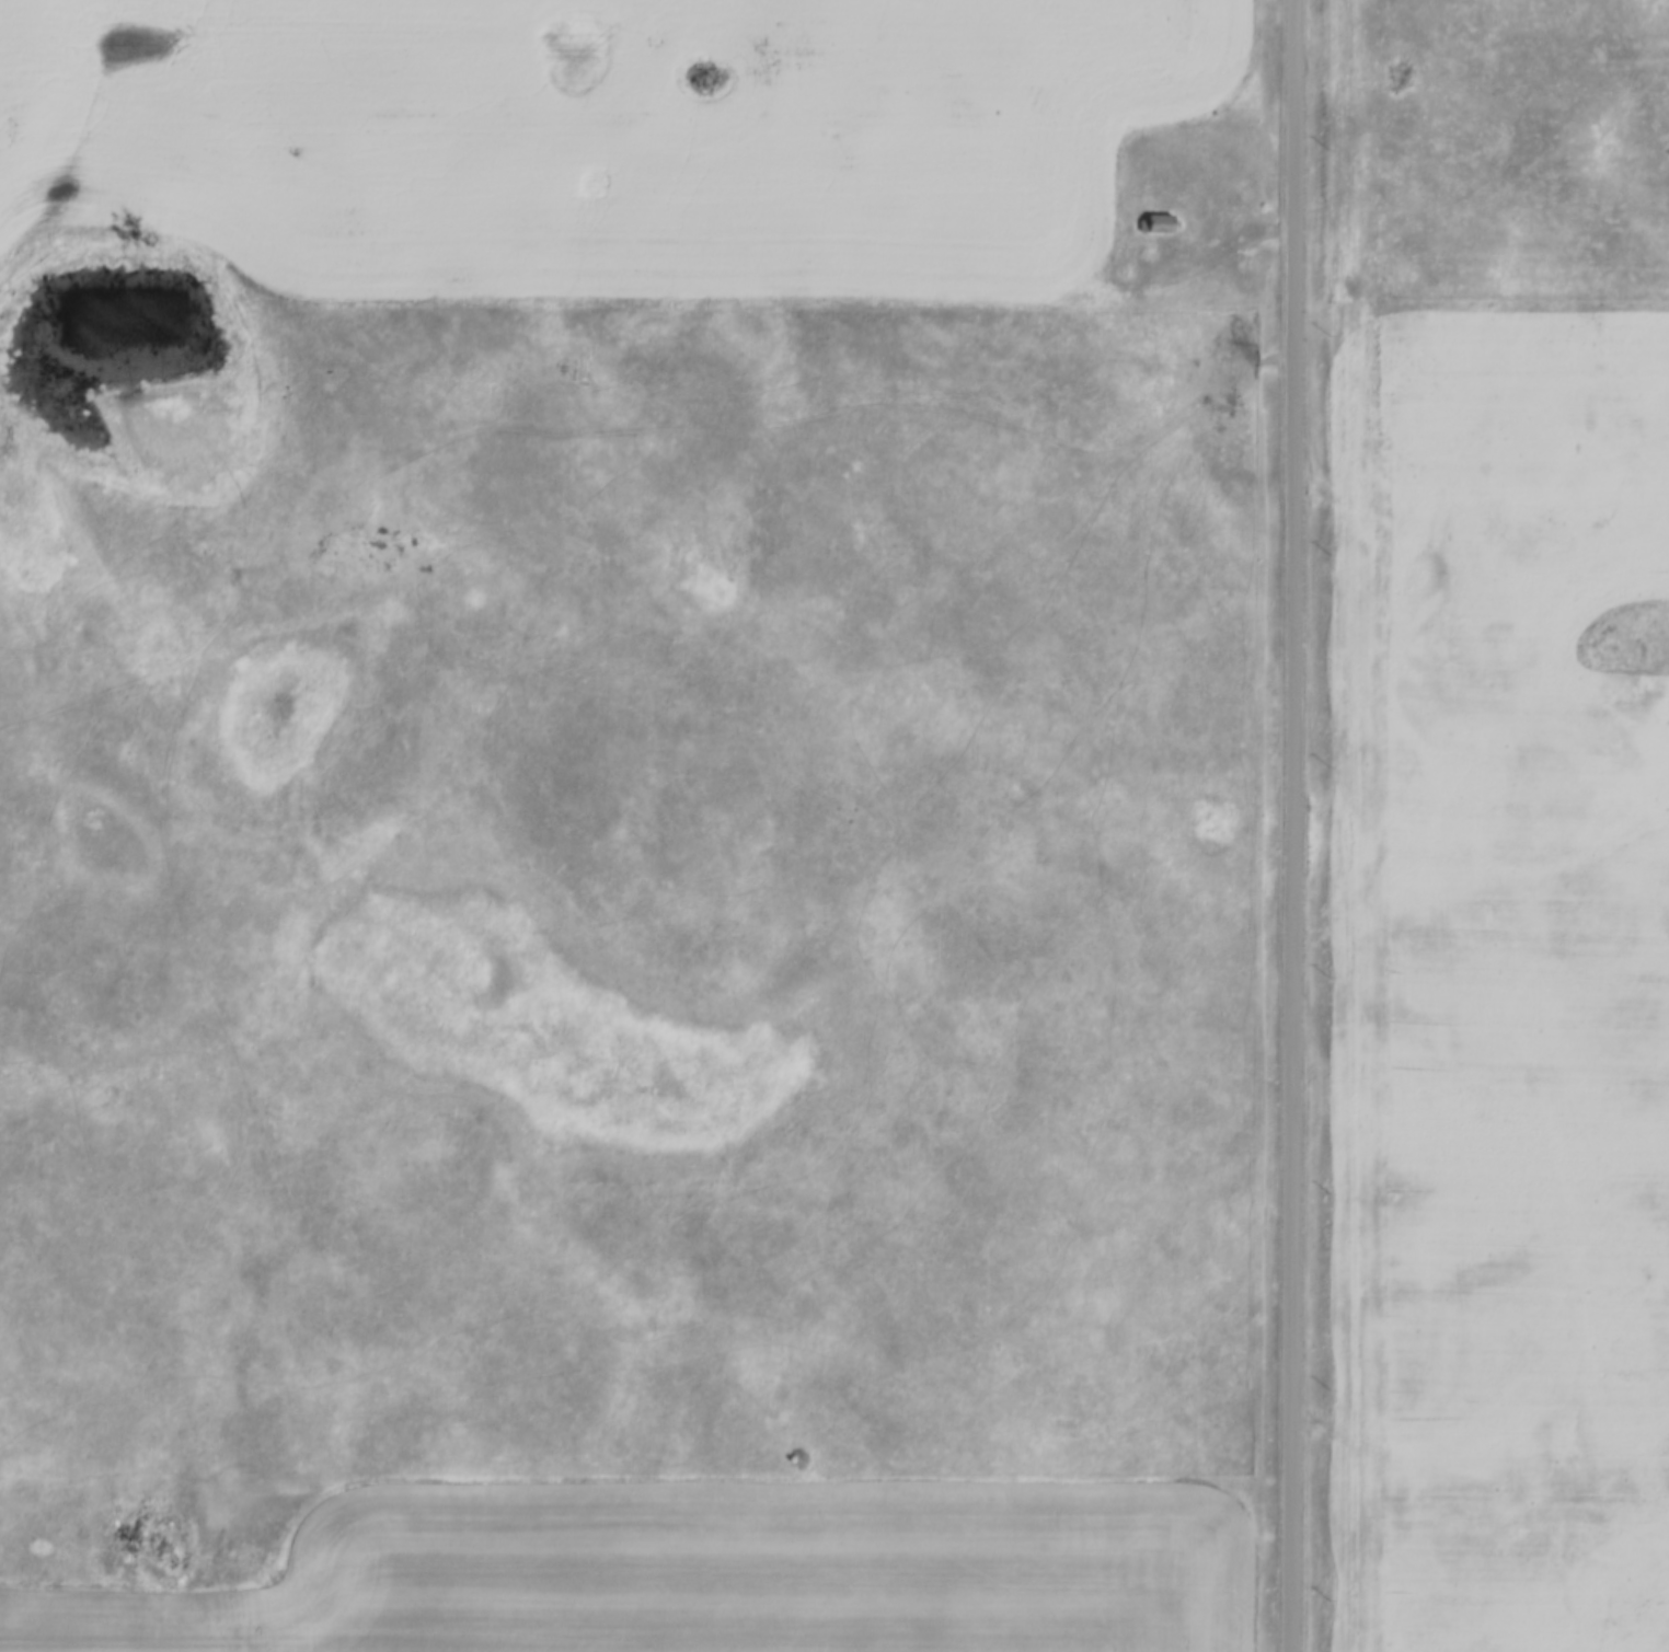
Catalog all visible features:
building: (1158, 222)
road: (610, 429)
road: (1292, 825)

